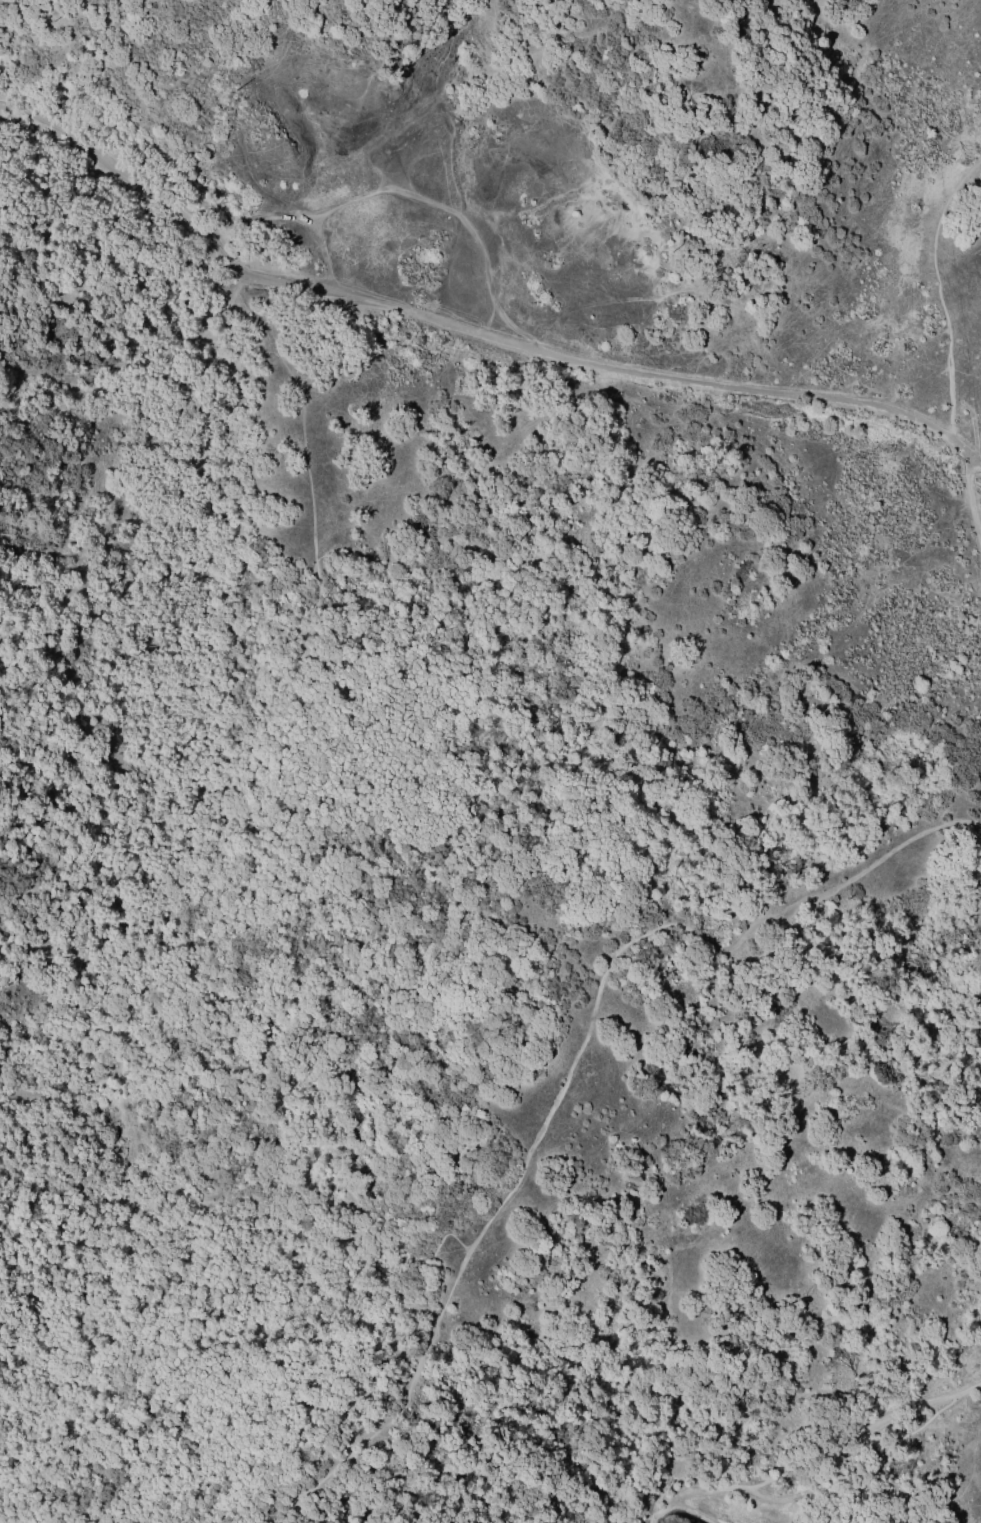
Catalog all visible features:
road: (430, 203)
road: (257, 217)
road: (937, 290)
road: (468, 336)
road: (971, 504)
road: (203, 747)
road: (341, 824)
road: (569, 1074)
road: (50, 1137)
road: (24, 1246)
road: (41, 1319)
road: (897, 1443)
road: (790, 1473)
road: (784, 1498)
dam: (742, 1510)
road: (652, 1511)

